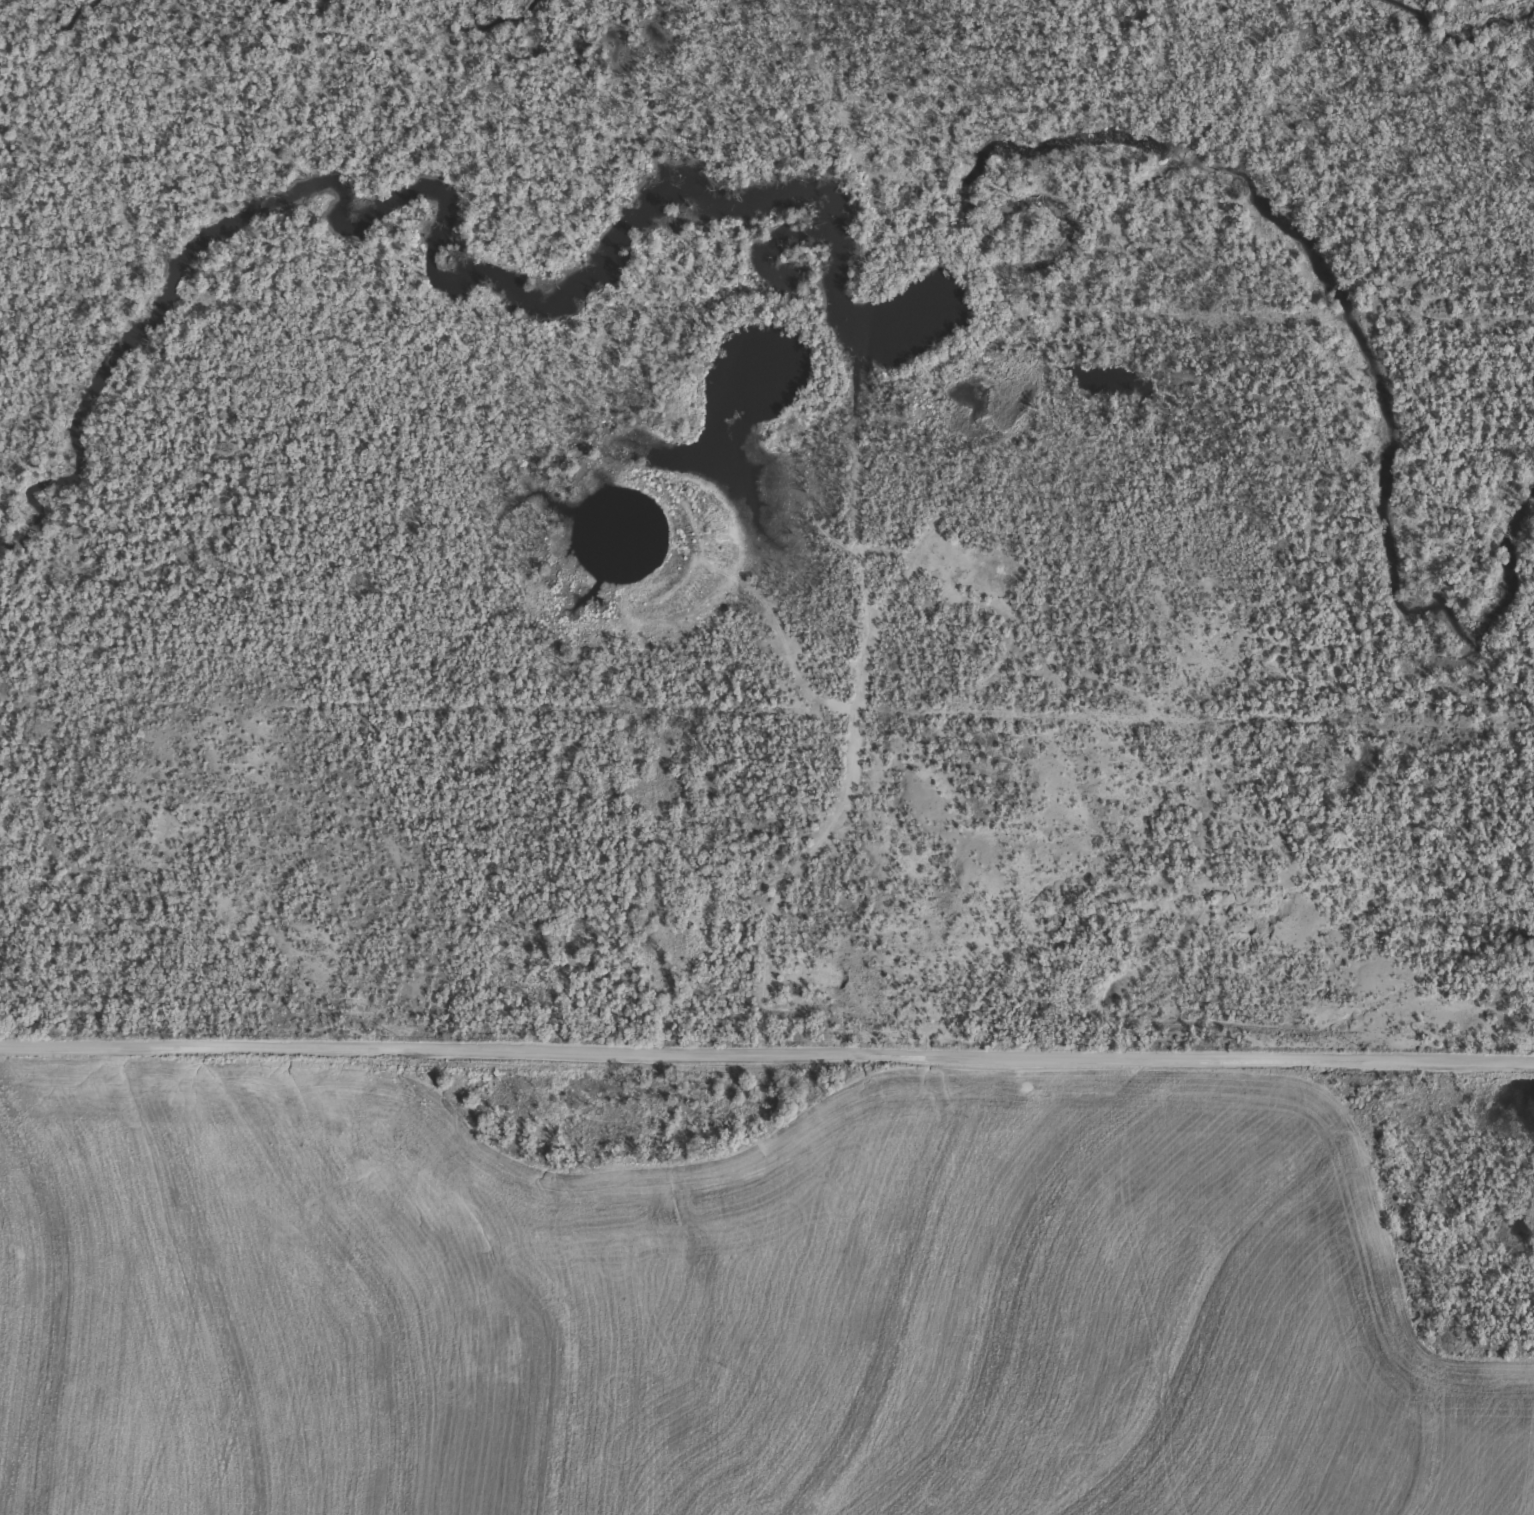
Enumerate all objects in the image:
road: (766, 1076)

